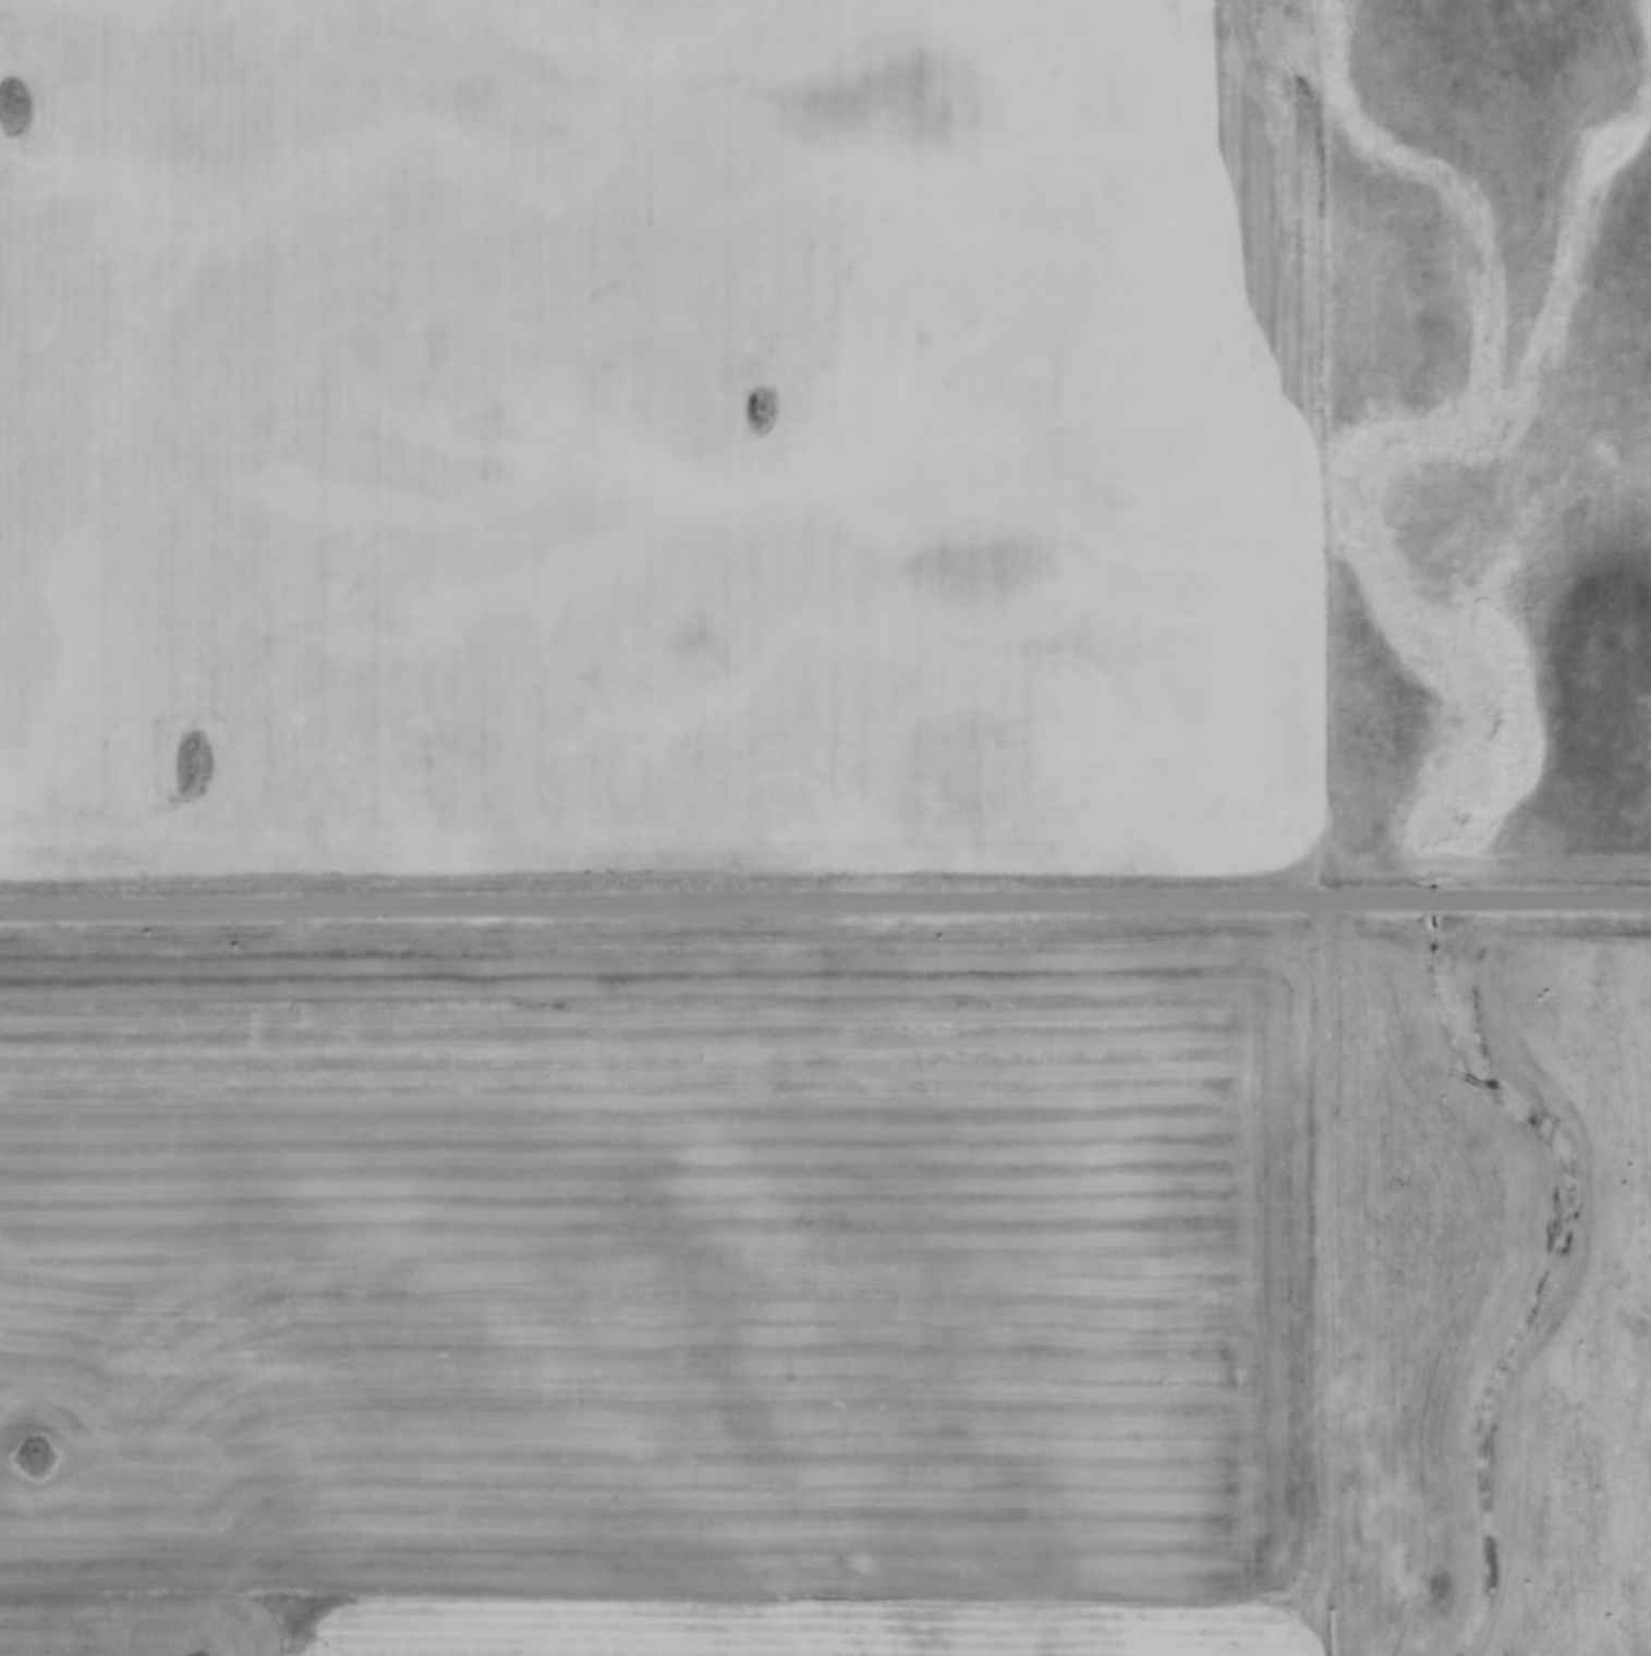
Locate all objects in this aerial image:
road: (825, 904)

